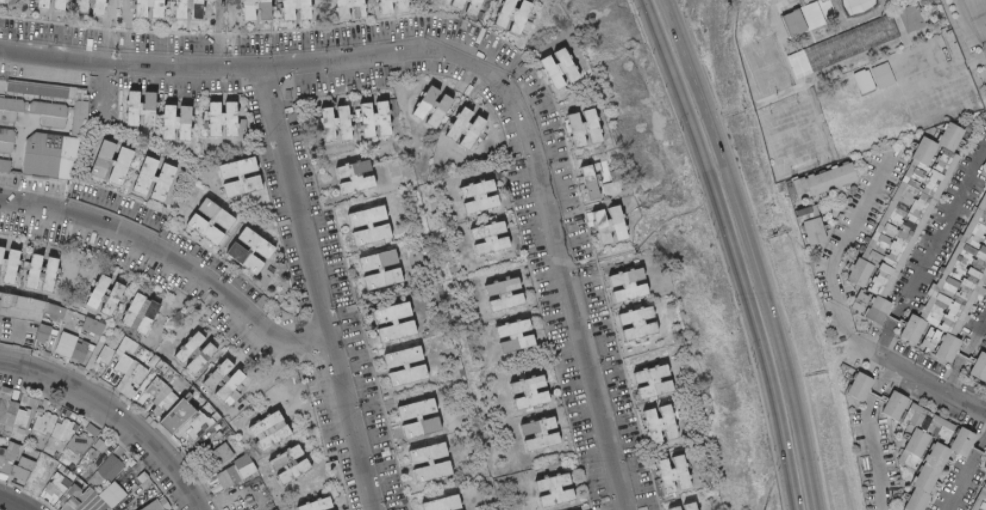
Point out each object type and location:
park: (458, 299)
park: (985, 439)
park: (0, 509)

